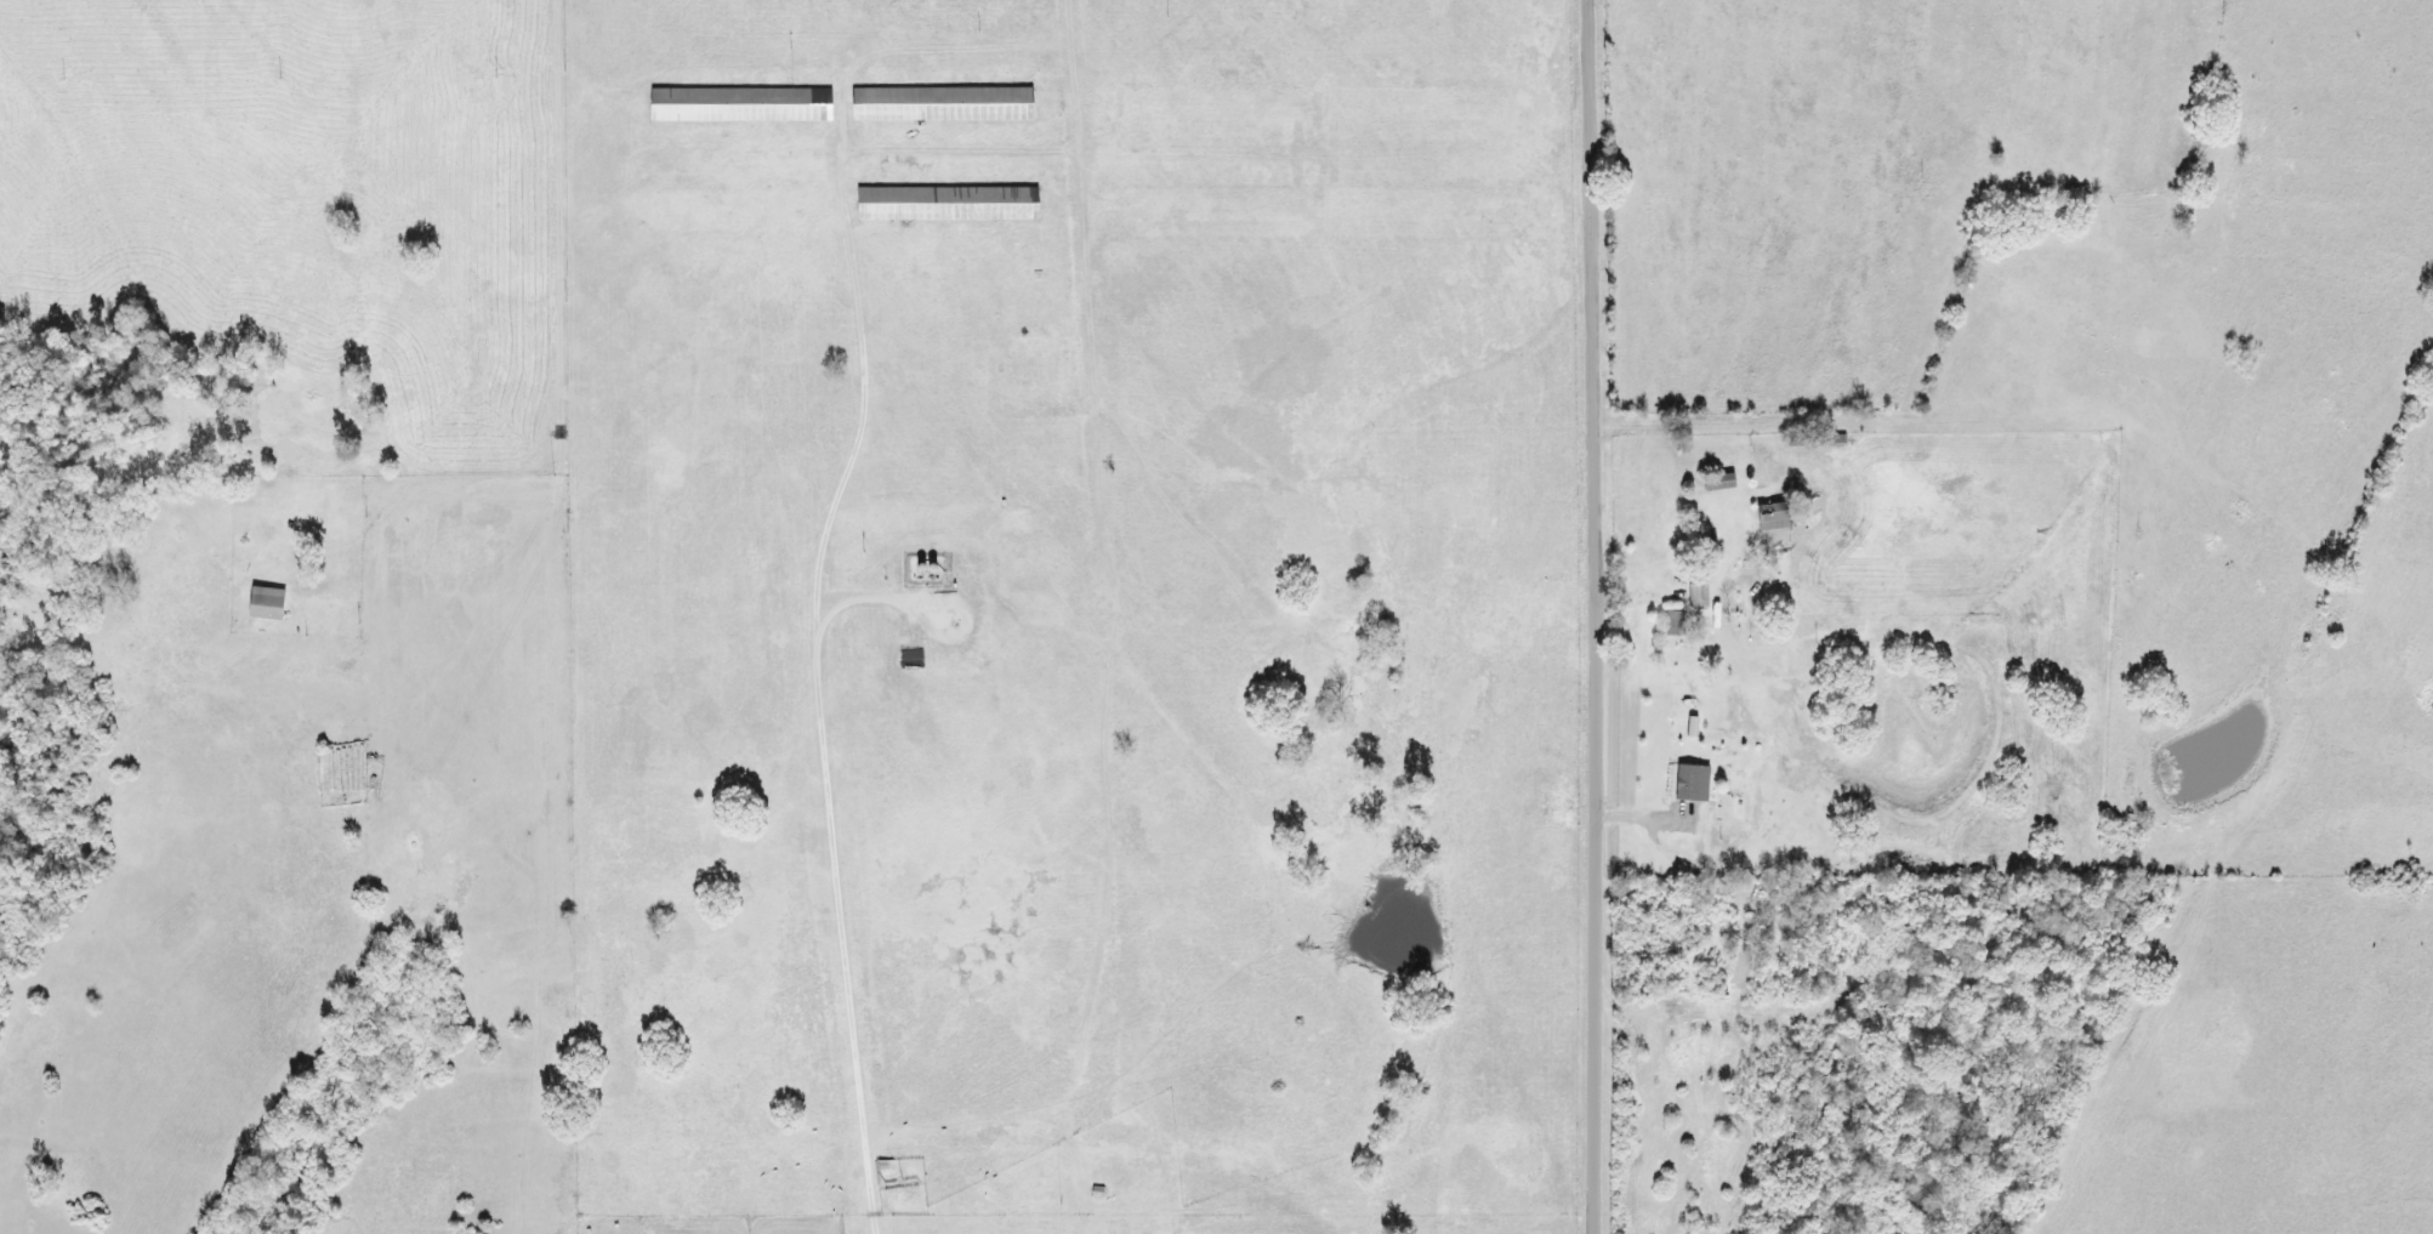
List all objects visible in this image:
building: (934, 103)
building: (733, 104)
building: (939, 203)
road: (544, 480)
building: (1711, 482)
building: (1763, 516)
building: (1692, 596)
building: (257, 603)
building: (316, 612)
road: (1590, 616)
building: (1667, 624)
road: (812, 689)

